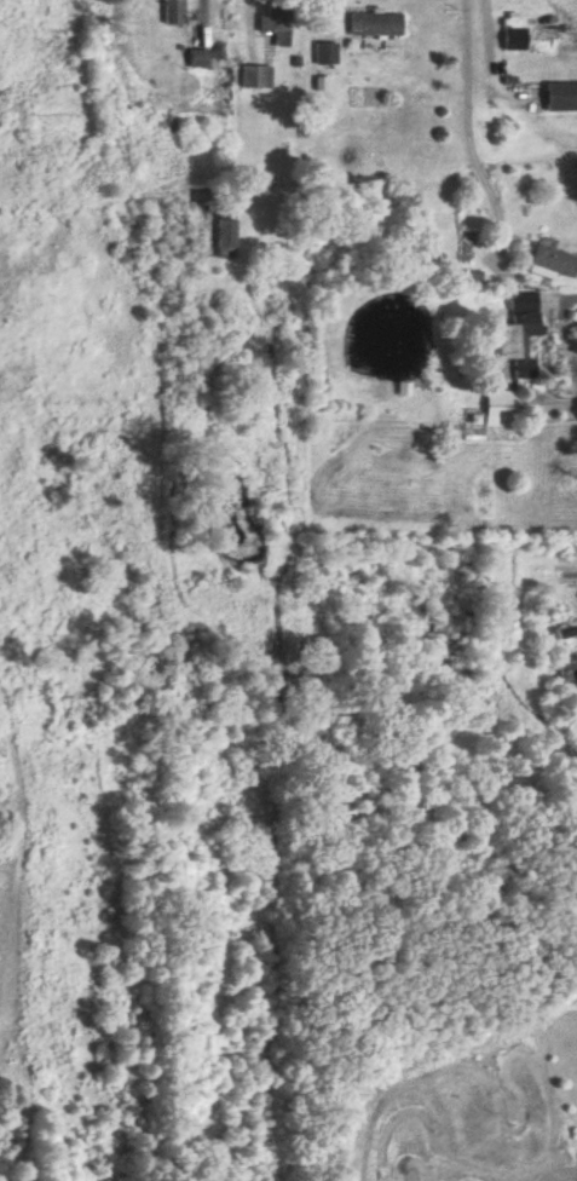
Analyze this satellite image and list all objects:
building: (173, 10)
road: (491, 17)
building: (375, 23)
building: (553, 34)
building: (513, 39)
building: (325, 53)
building: (255, 76)
building: (561, 97)
road: (472, 117)
road: (86, 203)
building: (225, 232)
road: (54, 247)
building: (548, 257)
road: (30, 260)
road: (0, 288)
building: (519, 332)
road: (128, 347)
building: (501, 407)
building: (567, 668)

